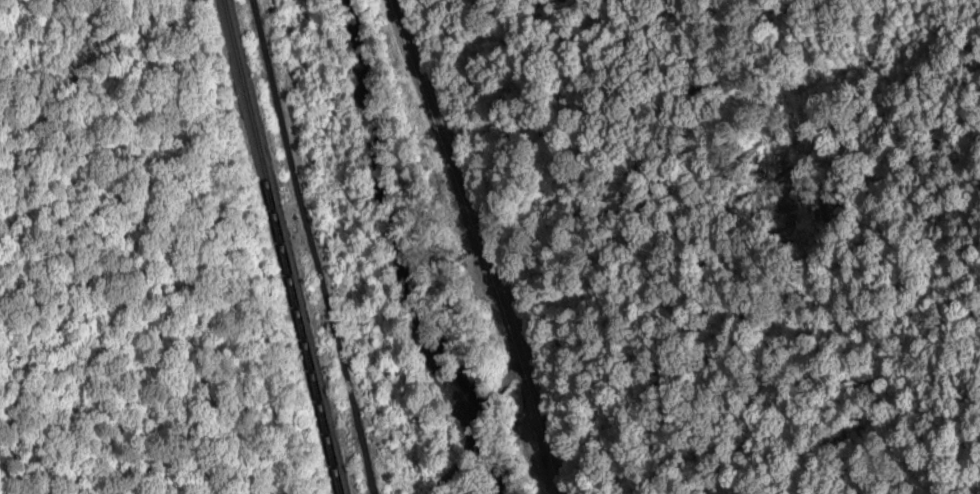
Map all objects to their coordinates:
railway: (282, 246)
road: (481, 246)
river: (431, 248)
quarry: (348, 254)

